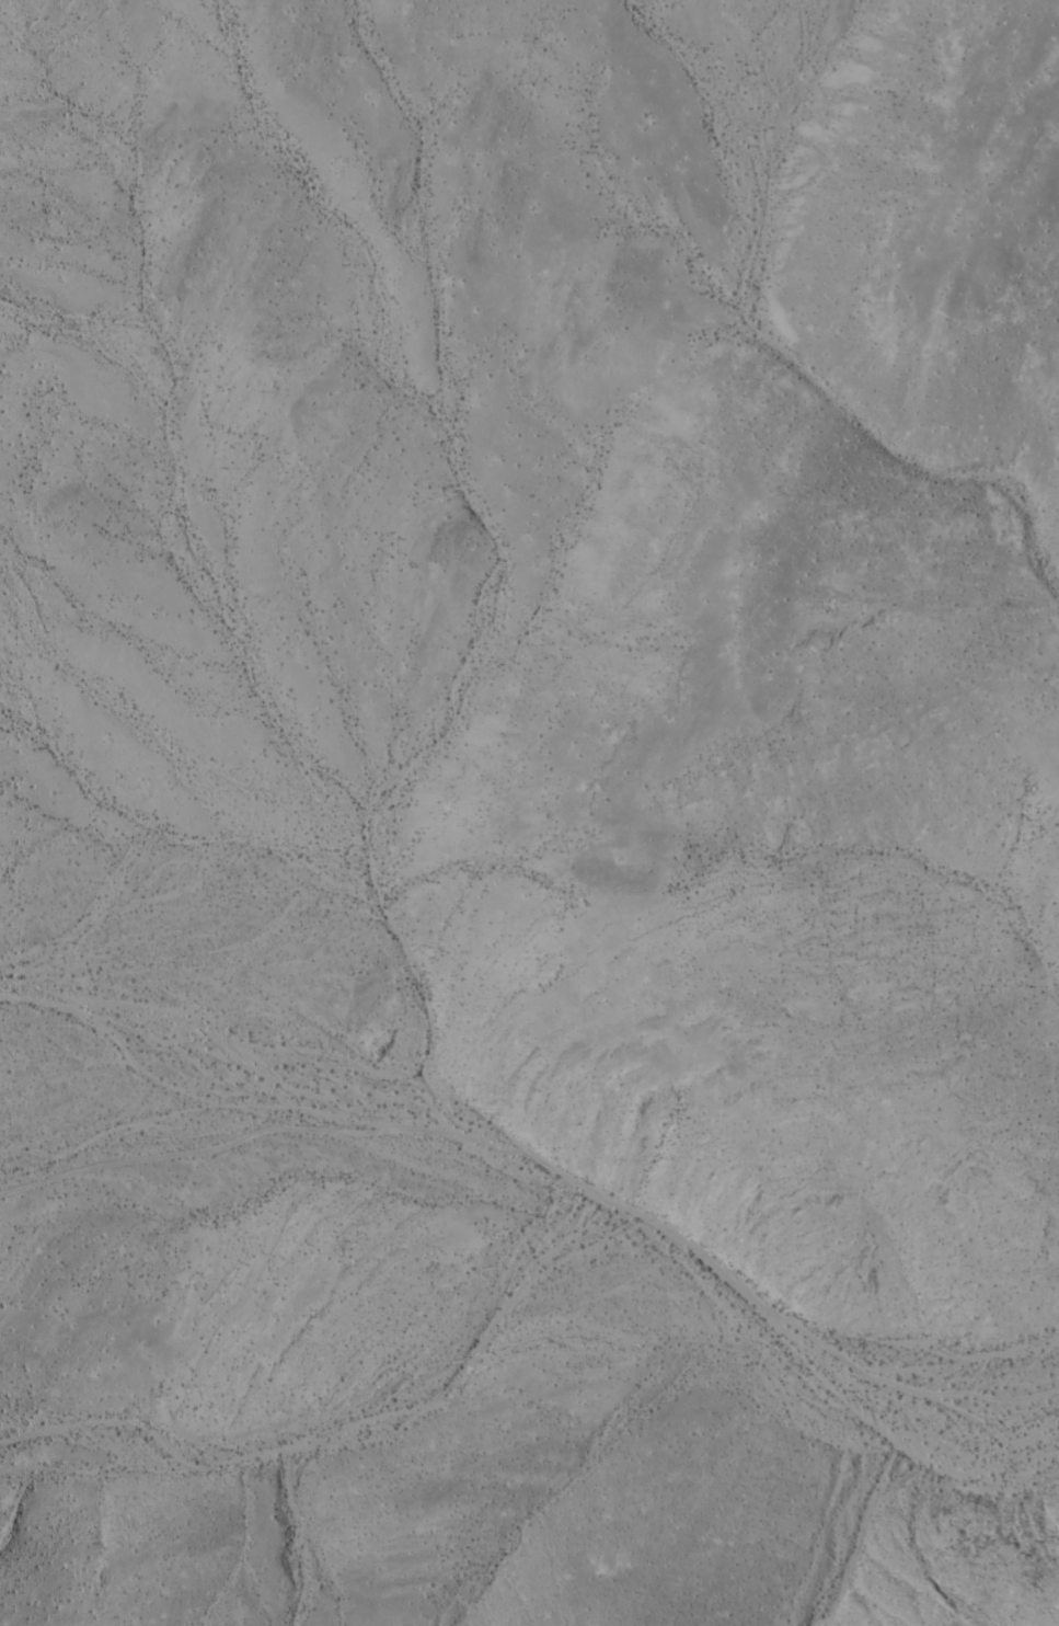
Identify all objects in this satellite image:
road: (540, 1196)

